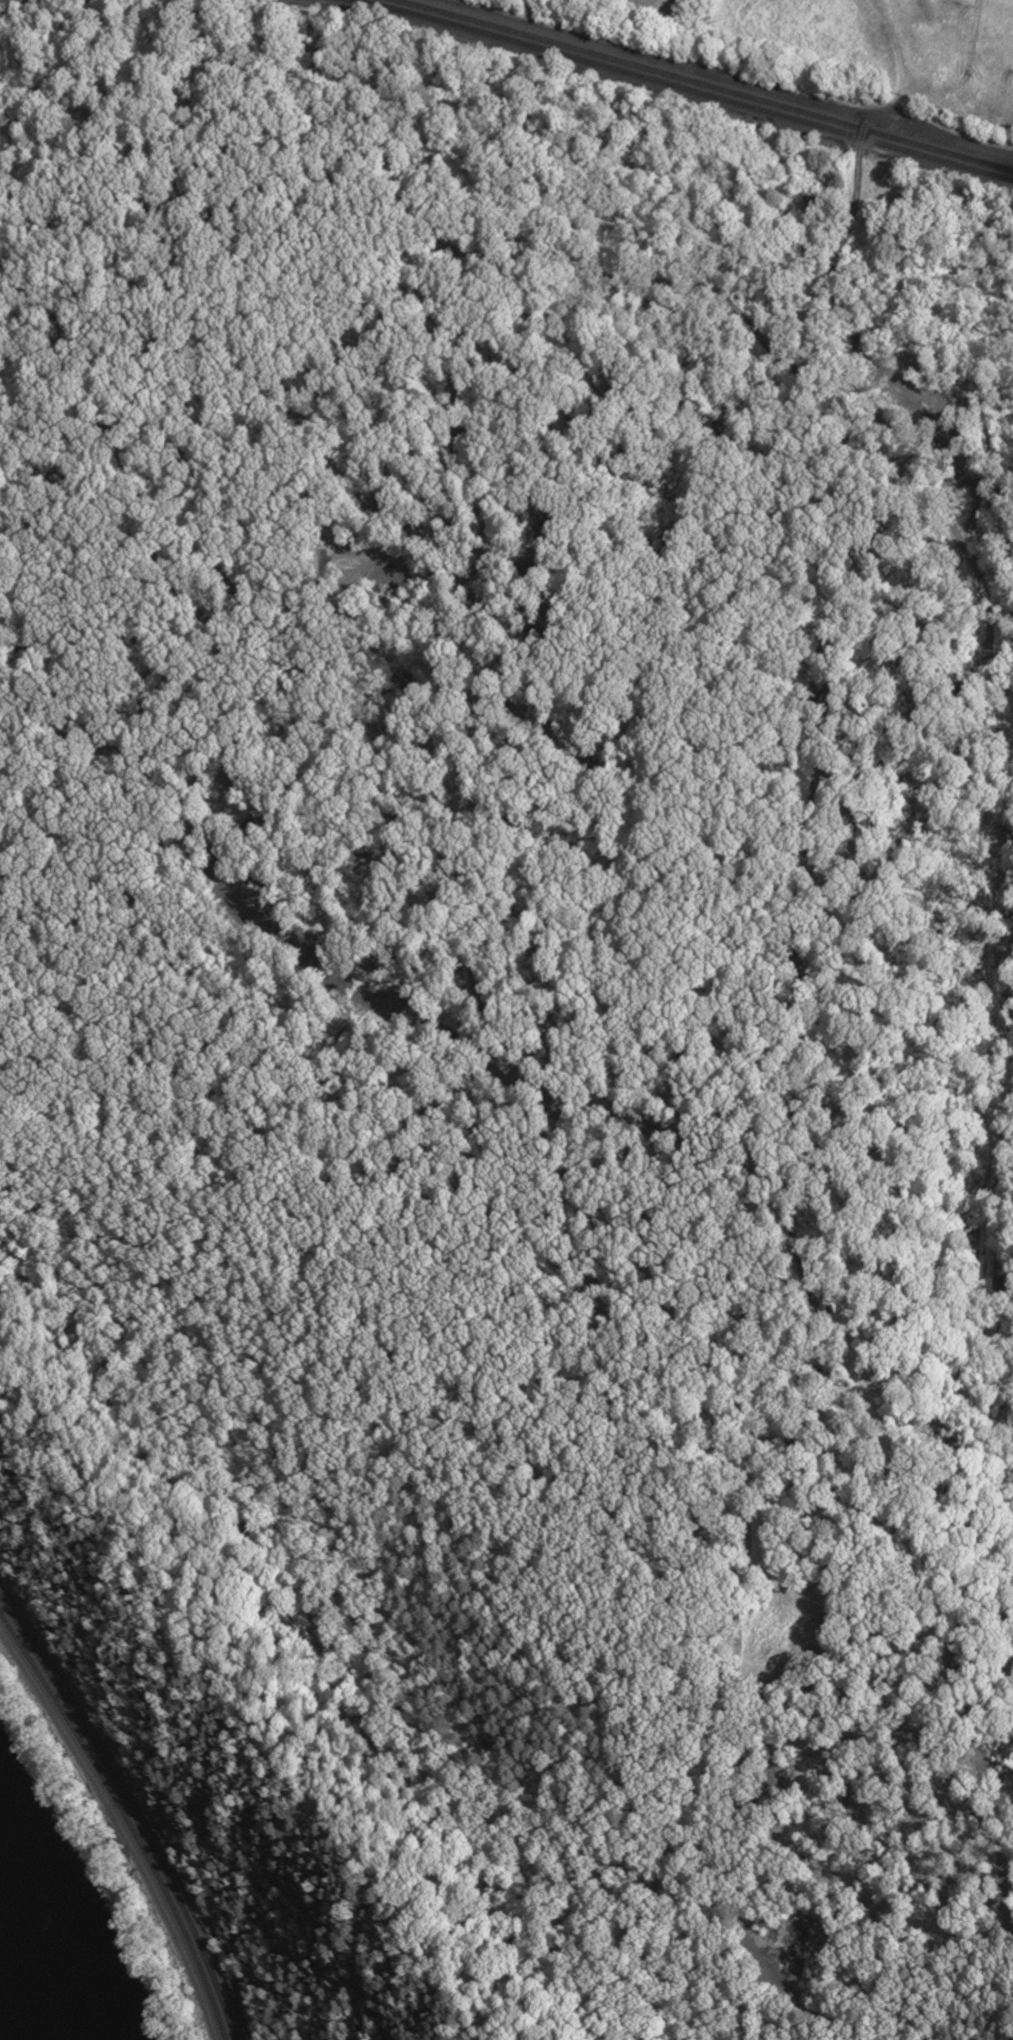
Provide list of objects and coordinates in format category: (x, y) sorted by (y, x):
road: (729, 79)
railway: (706, 84)
railway: (687, 88)
building: (813, 206)
railway: (131, 1809)
railway: (127, 1818)
road: (118, 1831)
river: (32, 1978)

